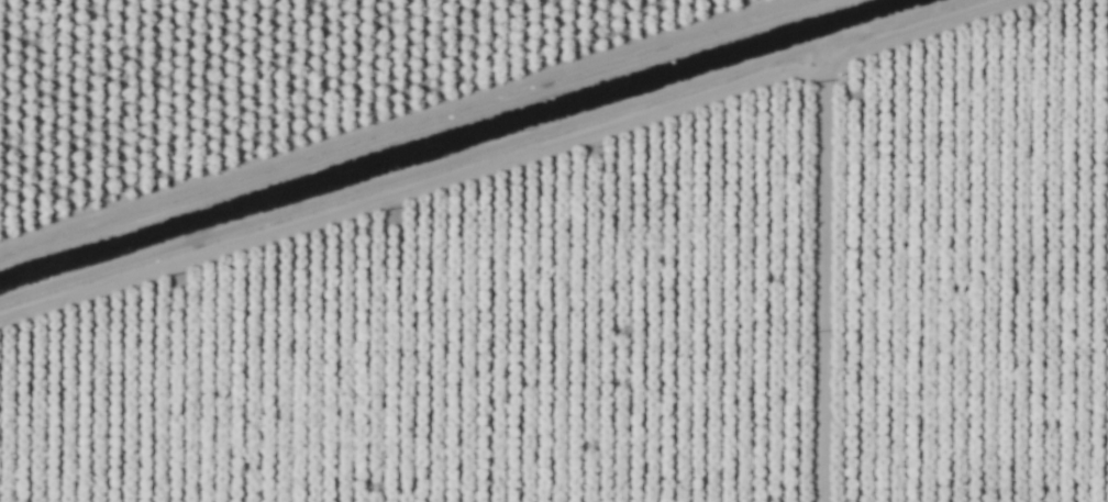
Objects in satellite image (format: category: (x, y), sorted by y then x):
crop: (554, 250)
road: (819, 304)

